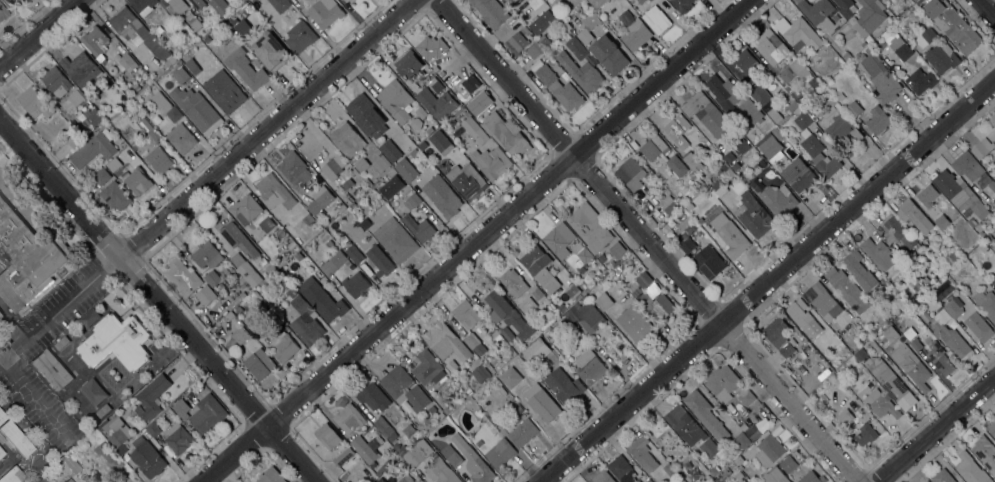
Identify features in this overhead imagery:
building: (346, 0)
building: (351, 0)
building: (506, 0)
building: (507, 0)
building: (651, 0)
building: (9, 1)
building: (21, 1)
building: (641, 1)
building: (596, 2)
building: (909, 2)
building: (198, 3)
building: (280, 4)
building: (682, 5)
building: (143, 6)
building: (178, 6)
building: (219, 6)
building: (847, 7)
road: (986, 9)
building: (3, 12)
building: (171, 12)
building: (325, 12)
building: (491, 12)
building: (817, 12)
building: (870, 13)
building: (656, 19)
building: (193, 20)
building: (542, 21)
building: (952, 24)
building: (585, 26)
building: (159, 29)
building: (523, 29)
building: (136, 31)
building: (798, 31)
building: (885, 32)
road: (39, 34)
building: (635, 34)
building: (924, 35)
building: (300, 36)
building: (207, 38)
building: (95, 40)
building: (545, 41)
building: (518, 43)
building: (770, 46)
building: (900, 47)
building: (432, 48)
building: (576, 48)
building: (271, 50)
building: (535, 50)
building: (609, 54)
building: (846, 54)
building: (942, 57)
building: (449, 58)
building: (127, 60)
building: (748, 61)
building: (408, 63)
building: (192, 66)
building: (81, 69)
building: (246, 69)
building: (793, 71)
building: (581, 72)
building: (545, 73)
building: (181, 75)
building: (564, 75)
building: (879, 75)
building: (56, 80)
building: (921, 80)
building: (814, 82)
building: (437, 85)
building: (468, 85)
building: (224, 91)
building: (724, 92)
building: (566, 94)
building: (760, 94)
building: (795, 94)
building: (77, 98)
building: (396, 100)
building: (35, 102)
building: (436, 102)
building: (480, 102)
building: (837, 105)
building: (166, 106)
building: (793, 106)
building: (853, 108)
building: (197, 109)
building: (751, 110)
building: (421, 112)
building: (706, 112)
building: (774, 114)
building: (367, 115)
building: (91, 118)
building: (878, 118)
building: (992, 118)
building: (415, 123)
building: (842, 128)
building: (150, 129)
road: (262, 129)
building: (429, 129)
building: (677, 129)
building: (475, 130)
building: (505, 132)
building: (777, 132)
building: (181, 138)
building: (347, 139)
building: (74, 140)
building: (441, 142)
building: (422, 145)
building: (815, 146)
building: (94, 147)
building: (771, 147)
building: (982, 147)
building: (390, 150)
building: (994, 151)
building: (414, 152)
building: (662, 153)
building: (729, 156)
building: (159, 159)
building: (491, 161)
building: (692, 162)
building: (984, 163)
building: (372, 164)
building: (333, 166)
building: (294, 167)
building: (406, 169)
building: (718, 169)
building: (972, 169)
building: (391, 172)
building: (729, 172)
building: (691, 174)
building: (101, 176)
building: (632, 176)
building: (366, 179)
building: (138, 180)
building: (467, 180)
building: (804, 180)
building: (348, 183)
building: (718, 187)
building: (275, 191)
building: (960, 193)
building: (115, 194)
building: (928, 194)
building: (442, 195)
building: (320, 198)
building: (778, 198)
building: (412, 200)
building: (669, 204)
building: (341, 207)
building: (246, 208)
building: (682, 212)
building: (753, 215)
building: (914, 215)
building: (308, 218)
building: (942, 221)
building: (971, 221)
building: (267, 223)
building: (365, 223)
building: (660, 223)
building: (589, 226)
building: (419, 227)
building: (994, 230)
building: (277, 231)
building: (896, 231)
building: (730, 235)
building: (239, 239)
building: (395, 239)
building: (559, 239)
road: (477, 240)
road: (646, 240)
building: (927, 240)
building: (689, 242)
building: (329, 243)
building: (992, 244)
building: (616, 251)
building: (878, 252)
building: (354, 253)
building: (207, 254)
building: (584, 254)
building: (298, 255)
building: (602, 257)
building: (951, 258)
building: (26, 259)
building: (380, 260)
building: (709, 261)
road: (109, 262)
building: (334, 262)
building: (579, 262)
building: (539, 267)
building: (246, 269)
building: (860, 269)
building: (183, 276)
building: (212, 277)
building: (644, 278)
building: (925, 279)
road: (767, 280)
building: (513, 282)
building: (993, 282)
building: (916, 283)
building: (356, 284)
building: (585, 287)
building: (848, 288)
building: (931, 288)
building: (572, 290)
building: (652, 290)
building: (537, 292)
building: (205, 294)
building: (319, 296)
building: (604, 300)
building: (824, 300)
building: (986, 302)
road: (155, 304)
building: (527, 305)
building: (953, 305)
building: (659, 306)
building: (239, 309)
building: (465, 312)
road: (52, 314)
building: (230, 314)
building: (507, 314)
building: (799, 314)
building: (0, 315)
building: (583, 315)
building: (89, 318)
building: (304, 320)
building: (880, 321)
building: (635, 323)
building: (979, 326)
building: (874, 327)
building: (506, 332)
building: (891, 333)
building: (495, 334)
building: (948, 334)
building: (241, 335)
building: (780, 336)
building: (445, 341)
building: (527, 341)
building: (62, 342)
building: (116, 342)
building: (474, 343)
building: (916, 343)
building: (285, 347)
building: (536, 350)
building: (503, 361)
building: (259, 363)
building: (944, 363)
building: (911, 365)
building: (589, 366)
building: (427, 367)
building: (450, 367)
building: (52, 369)
building: (480, 373)
building: (510, 376)
building: (887, 379)
building: (564, 385)
building: (728, 385)
building: (404, 388)
building: (468, 389)
building: (93, 391)
building: (373, 396)
building: (151, 397)
road: (33, 399)
building: (881, 403)
building: (545, 405)
building: (181, 406)
building: (432, 408)
building: (519, 408)
building: (446, 409)
building: (103, 410)
building: (207, 413)
building: (2, 417)
building: (349, 417)
building: (713, 420)
building: (684, 424)
building: (153, 426)
building: (870, 426)
building: (992, 427)
building: (385, 428)
building: (408, 429)
road: (936, 430)
building: (523, 432)
building: (119, 433)
building: (328, 435)
building: (178, 437)
building: (16, 438)
building: (479, 442)
building: (709, 447)
building: (363, 448)
building: (399, 448)
building: (769, 450)
building: (985, 451)
building: (1, 452)
building: (500, 452)
building: (417, 453)
building: (642, 453)
building: (450, 455)
building: (109, 456)
building: (343, 456)
building: (146, 457)
building: (727, 459)
building: (738, 459)
building: (70, 463)
building: (791, 465)
building: (477, 466)
building: (58, 467)
building: (622, 468)
building: (668, 469)
building: (971, 469)
building: (441, 471)
building: (713, 471)
building: (723, 474)
building: (12, 475)
building: (271, 475)
building: (775, 475)
building: (603, 476)
building: (943, 476)
building: (811, 477)
building: (86, 478)
building: (406, 478)
building: (40, 480)
building: (69, 480)
building: (380, 480)
building: (647, 480)
building: (123, 481)
building: (927, 481)

